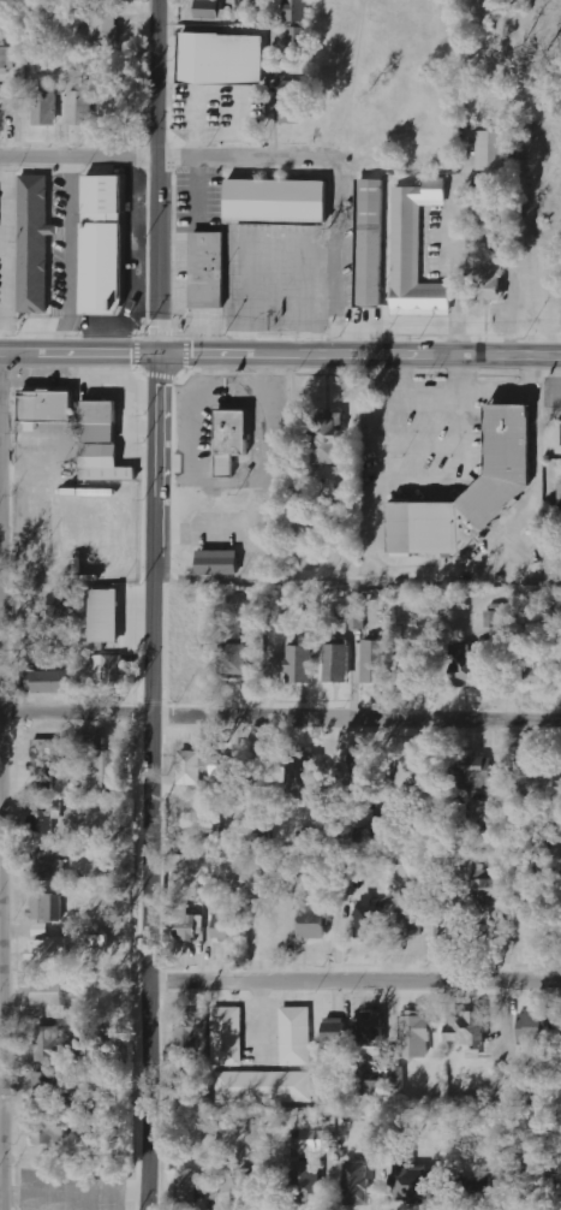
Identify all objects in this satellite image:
building: (209, 8)
building: (299, 10)
building: (106, 25)
building: (298, 36)
building: (7, 58)
building: (222, 58)
building: (292, 101)
building: (6, 106)
building: (46, 107)
building: (83, 107)
building: (491, 150)
road: (157, 160)
road: (157, 174)
building: (279, 201)
building: (366, 243)
building: (31, 244)
building: (101, 245)
building: (413, 251)
building: (209, 271)
building: (490, 281)
traffic signals: (157, 351)
road: (280, 352)
building: (49, 408)
building: (101, 421)
building: (226, 438)
building: (329, 438)
building: (102, 461)
building: (467, 490)
building: (560, 498)
building: (322, 518)
building: (220, 562)
road: (357, 579)
building: (61, 606)
building: (106, 615)
building: (496, 618)
building: (356, 619)
building: (239, 658)
building: (376, 660)
building: (338, 663)
building: (302, 664)
building: (469, 664)
building: (414, 665)
building: (111, 672)
building: (539, 675)
building: (52, 681)
road: (280, 719)
building: (43, 763)
building: (190, 767)
building: (106, 769)
building: (477, 769)
building: (223, 770)
building: (420, 773)
building: (303, 777)
building: (368, 777)
road: (150, 781)
building: (557, 797)
building: (43, 818)
building: (49, 864)
building: (485, 886)
building: (48, 907)
building: (371, 920)
building: (407, 923)
building: (190, 924)
building: (226, 924)
building: (314, 924)
building: (49, 949)
road: (354, 977)
building: (50, 996)
building: (467, 1027)
building: (535, 1027)
building: (187, 1031)
building: (335, 1033)
building: (372, 1033)
building: (417, 1034)
building: (227, 1036)
building: (296, 1036)
building: (49, 1045)
building: (399, 1078)
building: (47, 1086)
building: (264, 1086)
building: (374, 1089)
building: (48, 1132)
building: (317, 1140)
building: (306, 1181)
building: (357, 1182)
building: (416, 1184)
building: (243, 1185)
building: (195, 1186)
building: (477, 1191)
building: (531, 1200)

